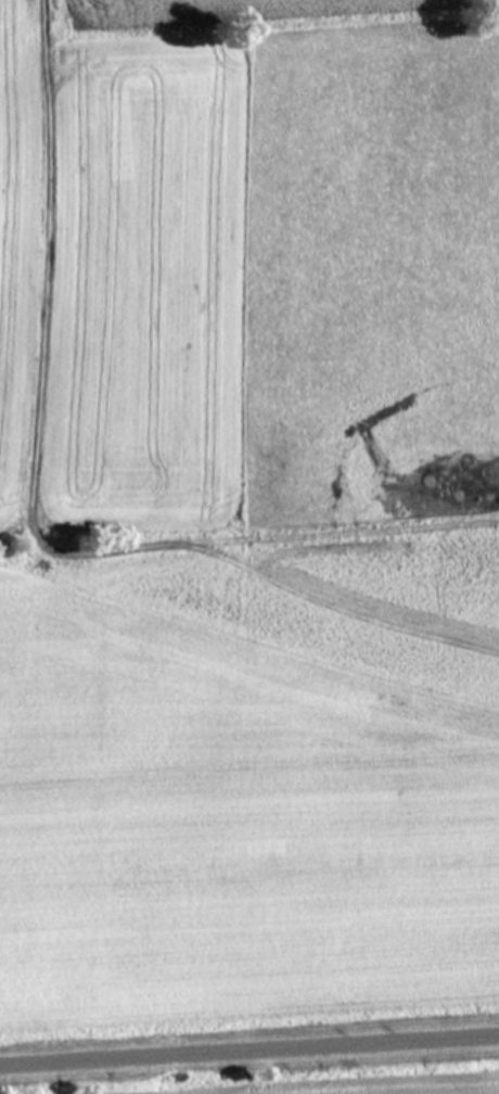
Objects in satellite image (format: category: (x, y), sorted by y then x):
crop: (248, 510)
road: (250, 1048)
crop: (278, 1077)

